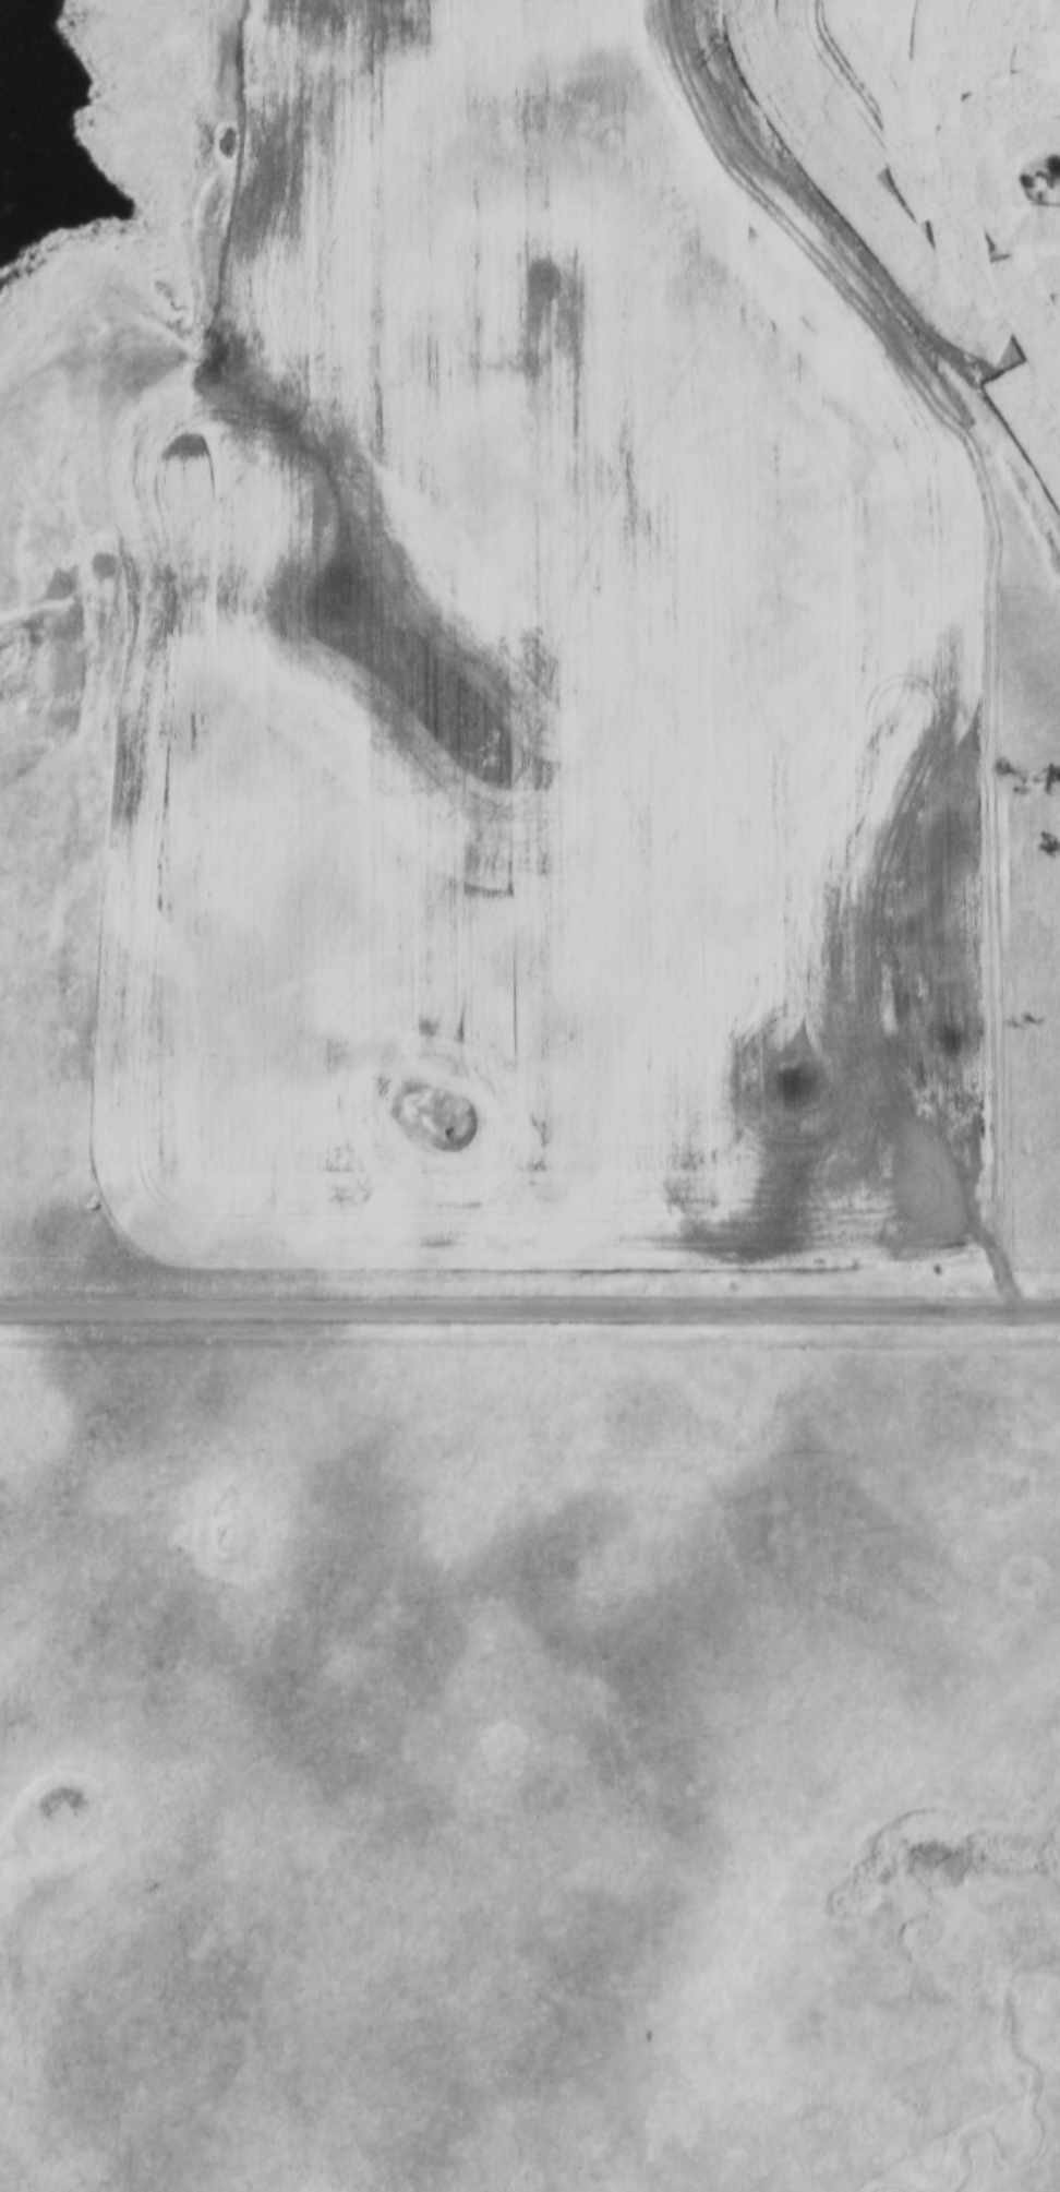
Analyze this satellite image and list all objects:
road: (530, 1304)

